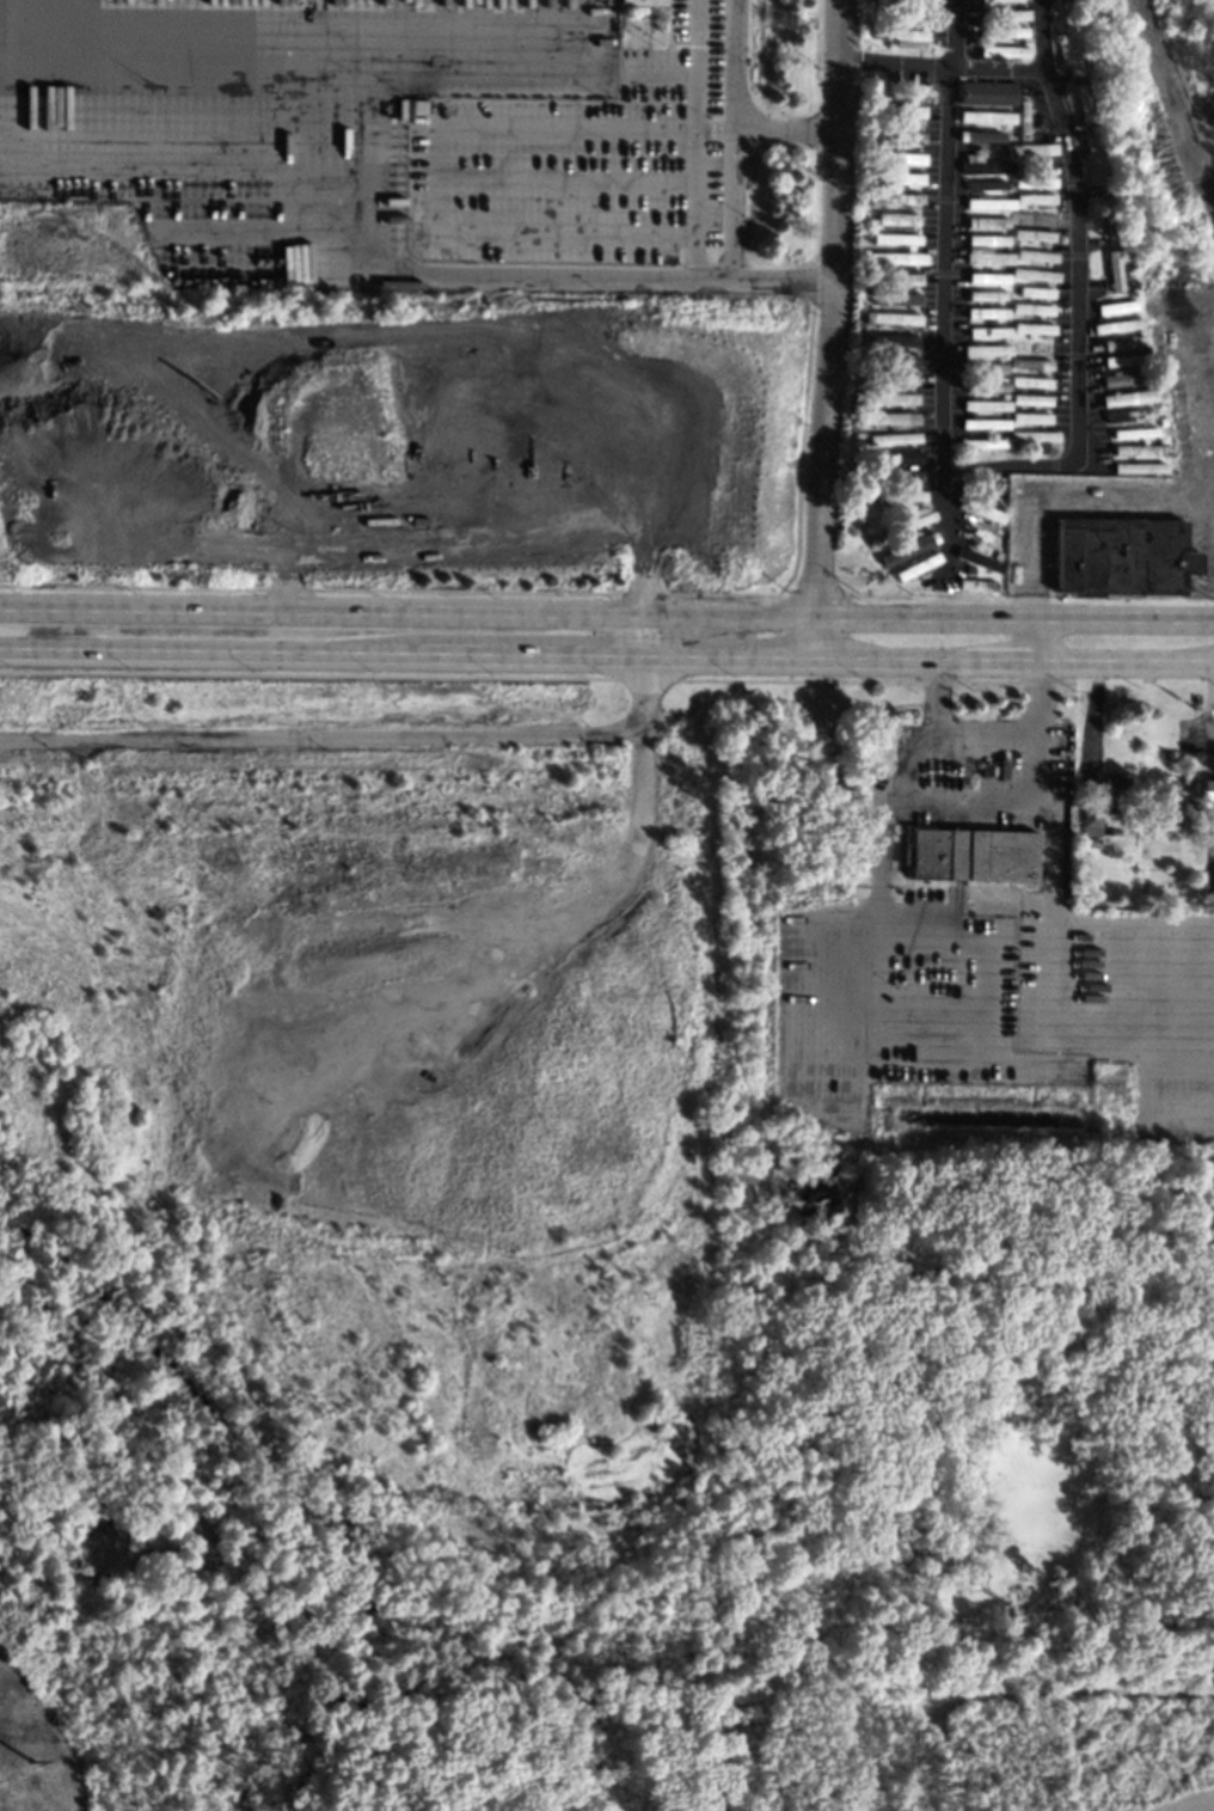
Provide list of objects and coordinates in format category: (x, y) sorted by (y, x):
building: (998, 0)
building: (640, 1)
building: (1022, 4)
building: (1059, 5)
building: (908, 14)
building: (1003, 14)
building: (1001, 31)
building: (900, 36)
building: (1024, 41)
building: (889, 43)
road: (1040, 43)
building: (1067, 48)
building: (1001, 50)
road: (693, 63)
building: (1078, 78)
building: (913, 92)
building: (986, 92)
building: (1080, 104)
building: (417, 106)
building: (897, 111)
building: (985, 116)
building: (1022, 118)
building: (877, 123)
building: (894, 135)
road: (701, 136)
building: (988, 136)
building: (870, 145)
building: (999, 149)
building: (1030, 149)
building: (899, 157)
building: (1031, 159)
building: (1090, 160)
building: (983, 165)
building: (875, 166)
road: (436, 172)
building: (894, 178)
building: (1032, 181)
building: (983, 184)
building: (876, 188)
building: (895, 198)
building: (1032, 198)
building: (987, 202)
building: (1031, 215)
building: (896, 218)
building: (1105, 220)
building: (986, 221)
building: (873, 228)
building: (1006, 231)
road: (1075, 231)
building: (1031, 234)
building: (895, 238)
building: (986, 239)
building: (1034, 255)
building: (895, 257)
building: (988, 257)
building: (1112, 269)
building: (1032, 274)
building: (987, 277)
building: (897, 279)
building: (1129, 282)
road: (756, 287)
building: (864, 289)
building: (1035, 290)
road: (944, 292)
building: (1130, 292)
building: (985, 295)
building: (896, 298)
building: (1115, 306)
building: (1031, 308)
building: (986, 312)
building: (890, 318)
building: (1116, 324)
road: (826, 328)
building: (1032, 328)
building: (988, 331)
building: (1133, 332)
building: (893, 337)
building: (1120, 342)
building: (1032, 345)
building: (986, 349)
building: (1013, 353)
building: (891, 359)
building: (1120, 360)
building: (1031, 363)
building: (983, 367)
building: (1014, 371)
building: (1124, 377)
building: (887, 378)
building: (1030, 381)
building: (983, 385)
building: (1014, 388)
building: (1005, 397)
building: (1128, 397)
building: (889, 398)
building: (1030, 399)
building: (986, 404)
building: (1128, 415)
building: (1030, 417)
building: (889, 418)
building: (983, 422)
building: (1133, 432)
building: (982, 434)
building: (1032, 435)
building: (893, 438)
building: (1163, 440)
building: (985, 443)
building: (879, 446)
building: (1012, 446)
building: (1140, 449)
building: (895, 457)
building: (732, 464)
building: (872, 467)
building: (1138, 467)
building: (897, 476)
building: (901, 495)
building: (866, 496)
building: (998, 503)
building: (980, 508)
building: (914, 520)
building: (883, 532)
building: (980, 534)
building: (914, 544)
building: (998, 552)
building: (1121, 556)
building: (979, 559)
building: (916, 565)
building: (926, 583)
building: (979, 585)
building: (901, 587)
road: (409, 613)
road: (1014, 617)
road: (1032, 637)
road: (606, 654)
road: (379, 735)
road: (949, 741)
road: (901, 754)
building: (1115, 787)
building: (1206, 790)
building: (1089, 820)
building: (1074, 845)
building: (970, 854)
road: (1047, 856)
building: (1139, 893)
road: (914, 907)
road: (834, 912)
road: (1130, 916)
road: (1095, 1045)
power tower: (33, 1770)

